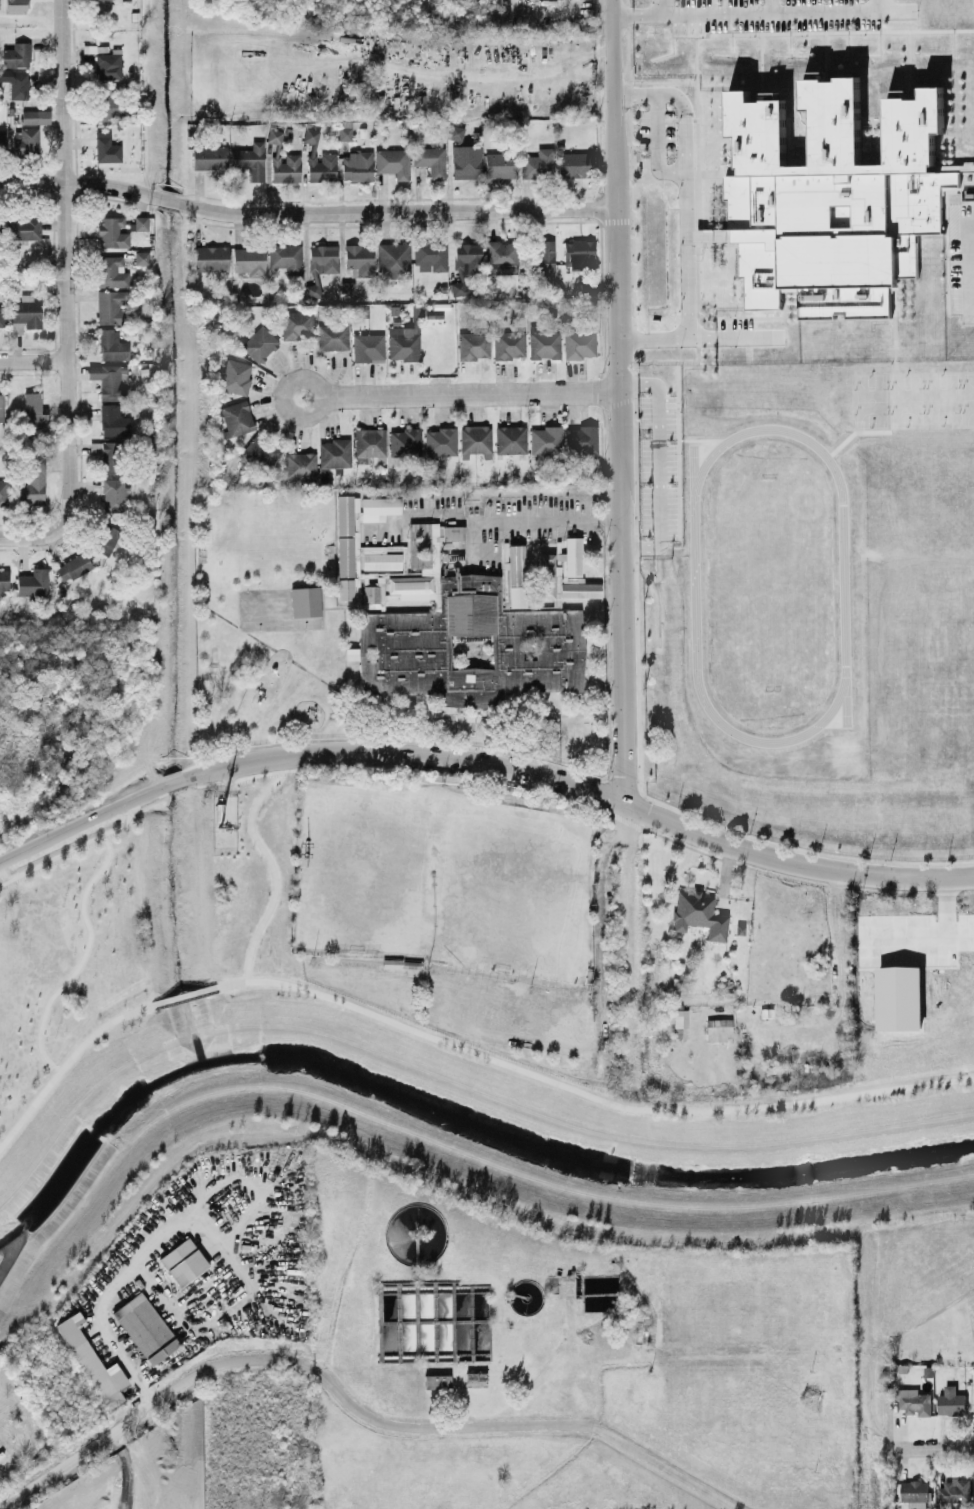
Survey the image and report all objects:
building: (14, 6)
road: (666, 8)
road: (778, 14)
road: (639, 17)
building: (16, 55)
building: (108, 65)
road: (473, 73)
building: (18, 85)
building: (108, 102)
building: (35, 117)
building: (0, 132)
building: (344, 133)
building: (455, 133)
building: (310, 135)
building: (274, 136)
building: (26, 141)
building: (106, 148)
building: (209, 158)
building: (250, 160)
building: (430, 161)
building: (466, 161)
building: (392, 162)
building: (537, 164)
building: (574, 164)
building: (499, 165)
building: (284, 166)
building: (356, 166)
building: (321, 167)
road: (77, 184)
building: (839, 197)
road: (167, 201)
road: (396, 210)
road: (687, 216)
building: (140, 223)
building: (24, 228)
building: (112, 232)
building: (578, 254)
building: (430, 255)
building: (501, 256)
building: (285, 257)
building: (210, 258)
building: (359, 259)
building: (392, 259)
building: (467, 259)
building: (249, 261)
building: (545, 262)
building: (320, 265)
building: (111, 272)
building: (458, 289)
road: (67, 297)
building: (109, 306)
building: (24, 314)
building: (1, 317)
building: (295, 325)
building: (332, 337)
building: (402, 343)
building: (508, 344)
building: (544, 344)
building: (578, 344)
building: (259, 345)
building: (111, 346)
building: (473, 346)
building: (368, 348)
road: (33, 360)
building: (235, 376)
building: (108, 380)
road: (315, 384)
road: (470, 394)
road: (620, 401)
building: (1, 407)
building: (34, 414)
building: (235, 418)
building: (113, 421)
building: (474, 439)
building: (510, 439)
building: (581, 439)
building: (544, 440)
building: (404, 442)
building: (440, 442)
building: (368, 444)
building: (260, 452)
building: (334, 453)
building: (109, 457)
building: (299, 465)
building: (32, 483)
building: (2, 493)
building: (112, 495)
road: (553, 520)
building: (105, 539)
building: (73, 567)
building: (3, 579)
building: (33, 583)
building: (304, 602)
building: (469, 647)
building: (350, 653)
road: (173, 782)
road: (176, 788)
road: (584, 790)
road: (585, 804)
road: (619, 818)
road: (78, 821)
road: (85, 841)
road: (271, 861)
building: (698, 914)
road: (627, 943)
road: (184, 994)
building: (898, 998)
road: (597, 1025)
building: (718, 1026)
road: (66, 1061)
road: (586, 1094)
river: (472, 1126)
building: (183, 1261)
road: (108, 1297)
road: (162, 1299)
building: (144, 1327)
road: (879, 1347)
road: (665, 1355)
wastewater plant: (514, 1357)
building: (91, 1361)
road: (564, 1365)
building: (474, 1379)
building: (436, 1381)
building: (949, 1400)
building: (913, 1401)
road: (472, 1426)
road: (107, 1437)
road: (932, 1446)
building: (973, 1488)
building: (951, 1491)
building: (913, 1493)

